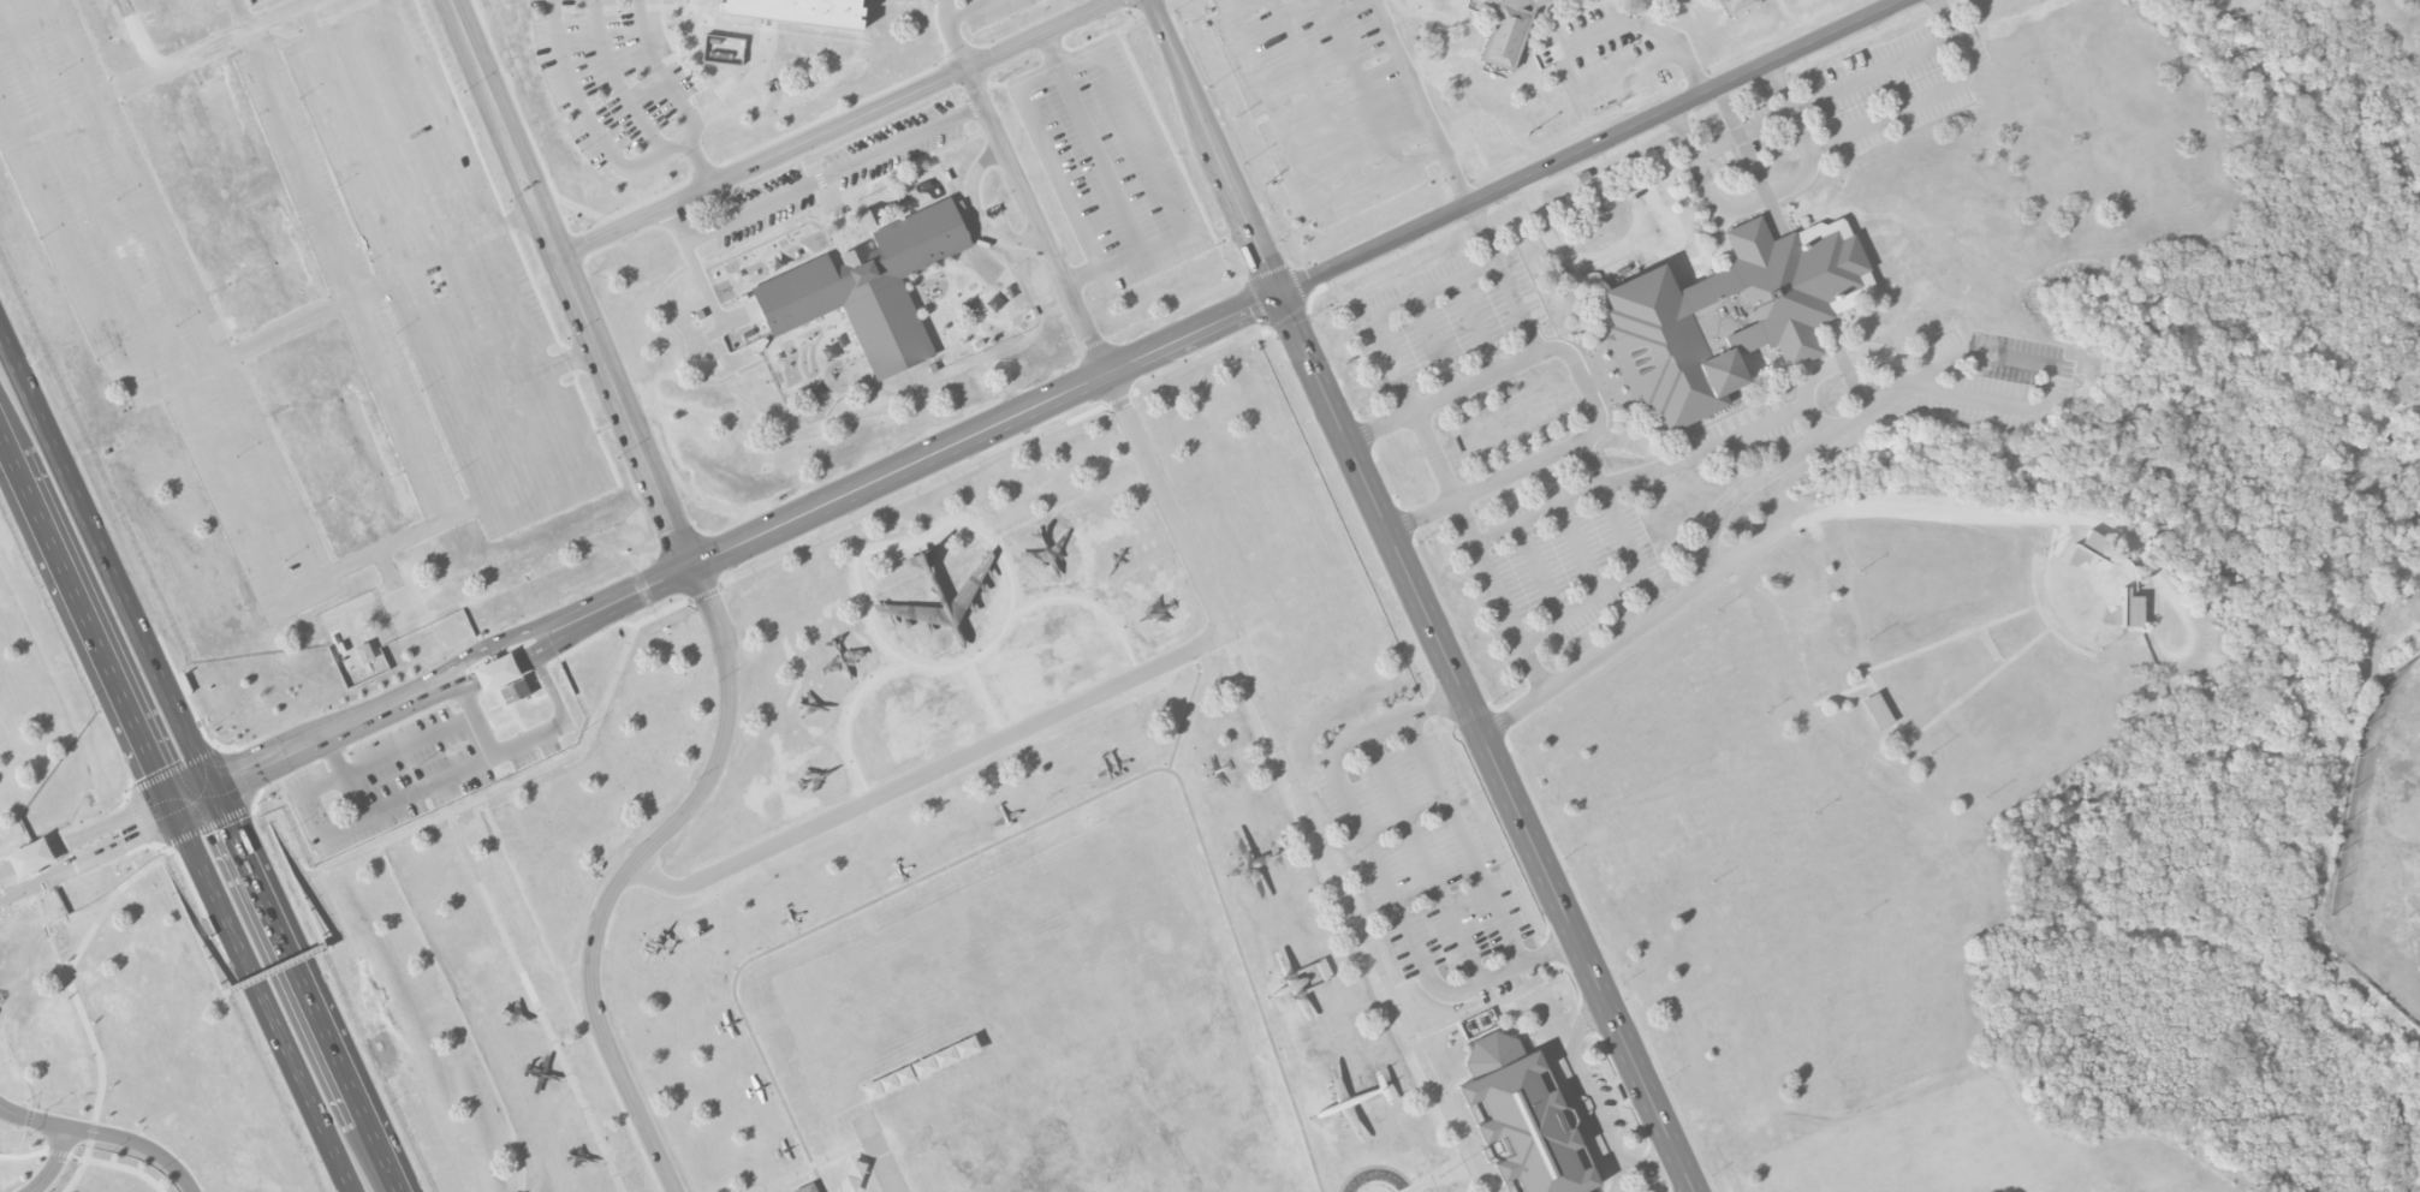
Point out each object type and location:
road: (986, 0)
parking lot: (232, 4)
road: (391, 5)
building: (1738, 5)
road: (969, 8)
building: (798, 11)
parking lot: (976, 12)
road: (242, 14)
road: (1205, 19)
road: (307, 23)
building: (1506, 31)
road: (950, 34)
road: (1569, 43)
road: (210, 46)
parking lot: (1611, 56)
road: (1892, 64)
road: (1059, 66)
parking lot: (610, 72)
road: (616, 81)
road: (1361, 83)
parking lot: (724, 85)
road: (747, 85)
parking lot: (1891, 89)
road: (1315, 93)
parking lot: (1331, 100)
road: (1420, 105)
road: (1909, 107)
road: (65, 112)
road: (836, 126)
parking lot: (1742, 133)
road: (1742, 133)
road: (1094, 141)
road: (1215, 147)
road: (1599, 149)
road: (1235, 153)
road: (1297, 156)
road: (643, 160)
road: (1590, 160)
road: (700, 163)
parking lot: (1110, 165)
parking lot: (836, 173)
road: (816, 179)
road: (1771, 192)
road: (976, 213)
road: (1298, 225)
road: (450, 266)
parking lot: (448, 267)
road: (1083, 274)
parking lot: (347, 279)
road: (1509, 281)
road: (704, 284)
building: (869, 288)
parking lot: (147, 296)
road: (1385, 310)
parking lot: (1445, 315)
building: (1730, 316)
road: (1477, 328)
road: (375, 340)
road: (1434, 346)
road: (1098, 351)
road: (573, 358)
road: (1837, 368)
road: (1178, 371)
road: (189, 374)
road: (1450, 397)
road: (2039, 409)
road: (1003, 421)
road: (5, 448)
road: (1809, 449)
road: (1439, 458)
road: (1544, 464)
road: (1685, 464)
road: (1404, 519)
road: (507, 521)
road: (1621, 529)
building: (2094, 544)
road: (1581, 549)
road: (1755, 552)
road: (704, 559)
parking lot: (1552, 567)
road: (1539, 572)
road: (1651, 589)
road: (289, 592)
road: (1502, 598)
road: (708, 602)
road: (581, 607)
building: (2131, 609)
road: (599, 618)
road: (90, 632)
road: (142, 634)
building: (364, 652)
road: (453, 666)
road: (501, 667)
road: (483, 675)
road: (453, 686)
road: (191, 690)
building: (515, 691)
building: (1878, 711)
road: (561, 720)
road: (402, 721)
road: (322, 738)
road: (1487, 743)
road: (248, 744)
road: (333, 753)
road: (385, 756)
road: (176, 769)
traffic signals: (155, 770)
traffic signals: (252, 771)
road: (245, 773)
road: (929, 774)
parking lot: (397, 775)
road: (269, 783)
road: (501, 788)
road: (427, 789)
road: (194, 797)
road: (162, 811)
road: (109, 812)
traffic signals: (153, 816)
road: (210, 826)
traffic signals: (230, 826)
road: (95, 828)
road: (337, 830)
park: (2382, 834)
road: (1487, 835)
road: (1469, 840)
road: (174, 851)
building: (30, 858)
parking lot: (1422, 858)
road: (1426, 858)
road: (81, 862)
road: (19, 864)
road: (1383, 876)
road: (208, 882)
road: (911, 884)
road: (1356, 914)
road: (1551, 940)
road: (290, 956)
road: (1610, 966)
road: (1263, 970)
road: (267, 972)
road: (255, 978)
road: (536, 1002)
road: (1492, 1002)
road: (79, 1013)
road: (459, 1017)
road: (347, 1084)
road: (1564, 1087)
road: (308, 1095)
road: (1592, 1105)
road: (31, 1116)
building: (1521, 1120)
road: (135, 1142)
road: (881, 1154)
road: (54, 1163)
road: (815, 1164)
road: (126, 1168)
flagpole: (1440, 1174)
road: (1444, 1180)
building: (807, 1188)

